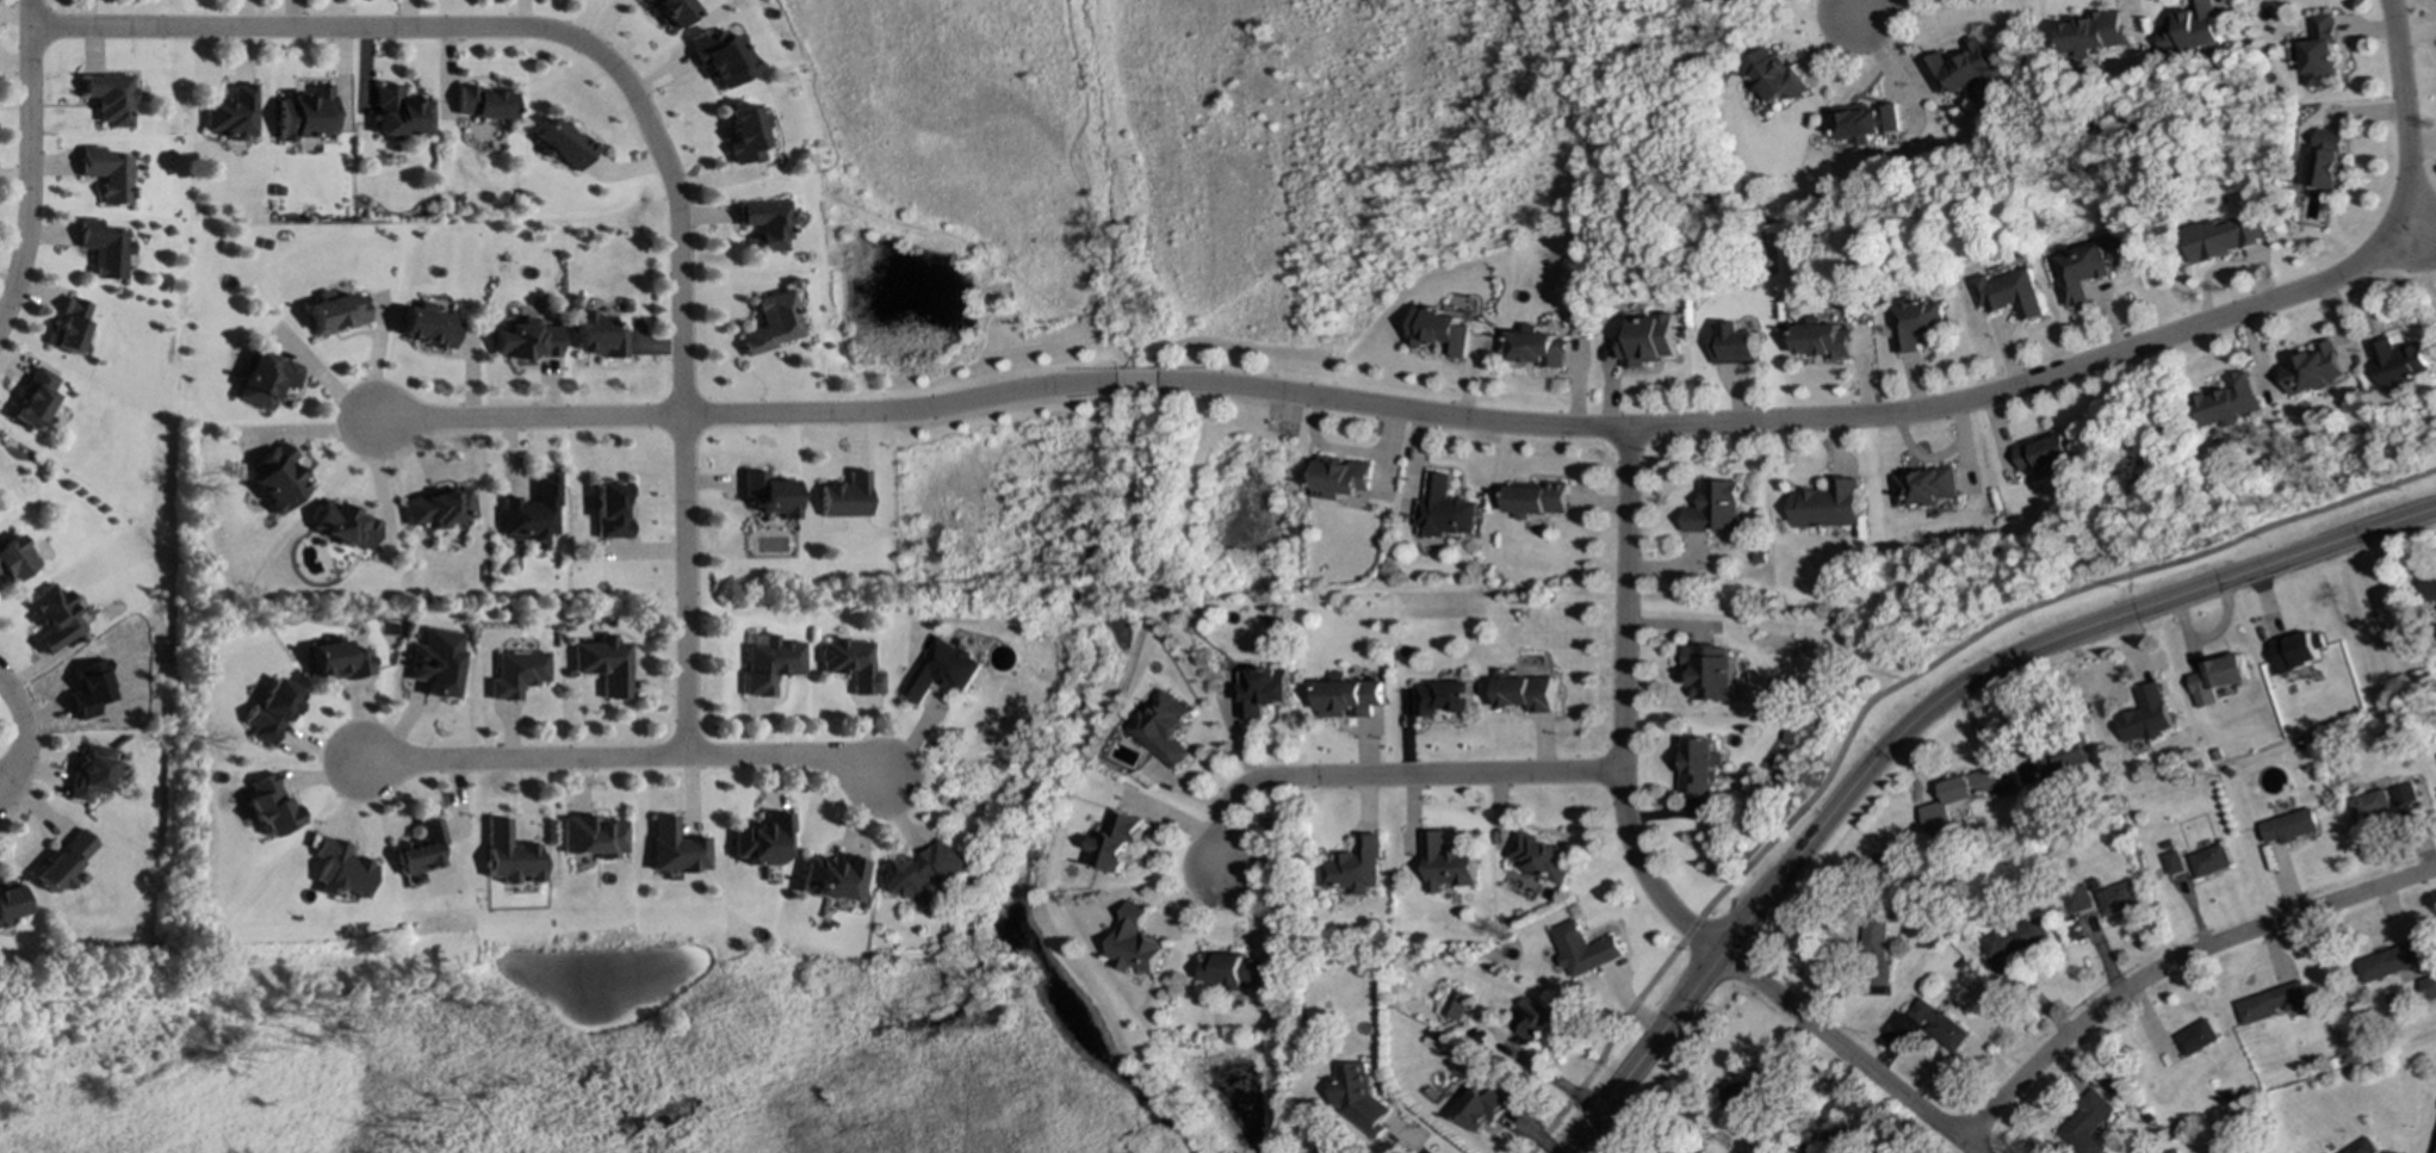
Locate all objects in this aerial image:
road: (1866, 5)
building: (669, 11)
building: (2190, 30)
building: (2093, 33)
building: (2319, 52)
building: (719, 56)
building: (1961, 69)
building: (1773, 75)
building: (111, 99)
building: (482, 104)
road: (650, 106)
building: (233, 113)
building: (306, 113)
building: (401, 113)
building: (1862, 122)
building: (744, 134)
building: (564, 144)
road: (26, 161)
building: (109, 174)
building: (767, 223)
building: (2221, 238)
building: (105, 248)
building: (2078, 272)
building: (2008, 295)
building: (336, 312)
building: (770, 323)
building: (1914, 323)
building: (427, 326)
building: (73, 327)
building: (1440, 331)
building: (596, 335)
building: (1645, 340)
building: (1821, 340)
building: (525, 341)
building: (1733, 345)
building: (1537, 348)
building: (2398, 361)
building: (2311, 370)
building: (266, 379)
building: (37, 399)
building: (2226, 402)
road: (525, 419)
road: (1668, 426)
building: (2041, 453)
building: (277, 478)
building: (1343, 478)
building: (1923, 486)
building: (767, 494)
building: (843, 497)
building: (1536, 498)
building: (1824, 506)
building: (439, 508)
building: (1713, 508)
building: (1445, 509)
building: (531, 512)
building: (609, 512)
building: (343, 526)
building: (16, 559)
building: (2429, 588)
building: (54, 618)
building: (2298, 651)
building: (339, 662)
building: (438, 663)
building: (770, 664)
building: (851, 664)
building: (605, 665)
building: (944, 671)
building: (1707, 672)
building: (519, 674)
building: (2217, 678)
road: (1889, 688)
building: (91, 689)
building: (1521, 692)
building: (1264, 693)
building: (1349, 696)
building: (1442, 698)
building: (271, 712)
building: (2146, 717)
road: (1919, 718)
building: (1164, 729)
road: (25, 733)
road: (626, 751)
building: (2062, 754)
building: (1696, 765)
building: (93, 771)
road: (1384, 775)
building: (1973, 785)
building: (2405, 794)
building: (268, 805)
building: (2370, 805)
building: (1934, 817)
building: (2291, 826)
building: (595, 836)
building: (763, 839)
building: (1117, 843)
building: (676, 848)
building: (420, 849)
building: (510, 855)
building: (1539, 857)
building: (2209, 860)
building: (64, 862)
building: (1446, 862)
building: (1355, 867)
road: (1638, 868)
building: (340, 869)
building: (921, 872)
building: (831, 879)
building: (2101, 898)
building: (11, 903)
building: (2013, 938)
building: (1136, 943)
building: (1583, 949)
building: (1873, 950)
road: (2172, 962)
building: (2388, 962)
building: (1235, 971)
building: (2430, 987)
building: (2271, 1003)
building: (1453, 1006)
building: (1531, 1018)
building: (1935, 1024)
building: (2196, 1037)
building: (1737, 1095)
building: (1357, 1097)
building: (1481, 1108)
building: (2084, 1124)
building: (1837, 1141)
building: (2362, 1147)
road: (1413, 1149)
building: (2331, 1152)
building: (2332, 1152)
building: (2435, 1152)

